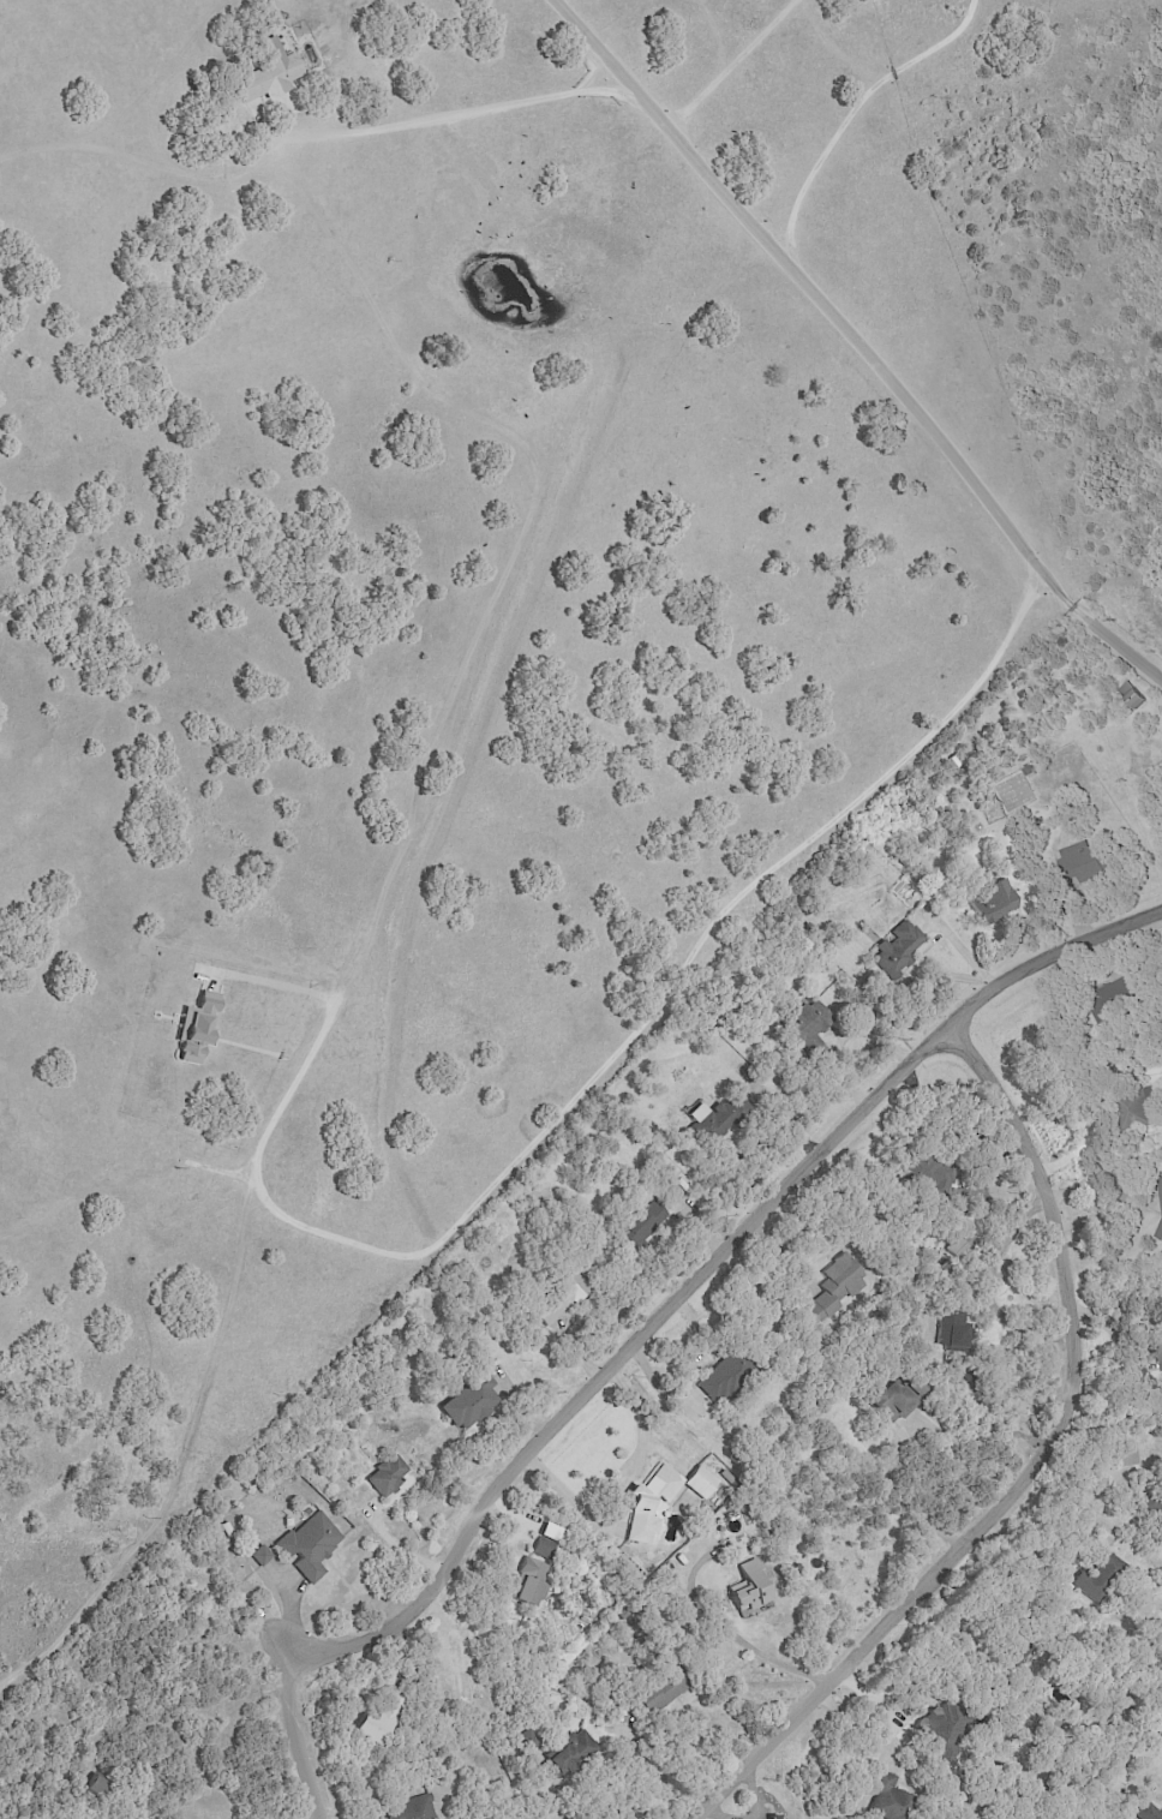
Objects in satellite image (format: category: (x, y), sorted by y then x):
road: (730, 64)
road: (583, 65)
building: (266, 74)
road: (851, 109)
road: (468, 113)
road: (853, 342)
building: (1131, 698)
building: (1077, 861)
building: (990, 899)
building: (896, 944)
building: (804, 1028)
building: (190, 1029)
road: (570, 1106)
building: (706, 1121)
building: (921, 1168)
road: (1121, 1186)
building: (1160, 1202)
building: (636, 1226)
building: (951, 1247)
building: (831, 1285)
road: (990, 1293)
building: (556, 1300)
road: (659, 1328)
building: (948, 1332)
building: (1158, 1352)
road: (690, 1362)
building: (713, 1381)
building: (468, 1401)
building: (882, 1401)
building: (1124, 1458)
road: (1035, 1473)
building: (383, 1474)
road: (619, 1480)
building: (657, 1497)
building: (1154, 1507)
road: (902, 1510)
building: (305, 1544)
building: (257, 1555)
building: (1094, 1572)
building: (528, 1581)
building: (743, 1587)
road: (115, 1623)
road: (735, 1641)
building: (1016, 1653)
building: (658, 1692)
road: (887, 1718)
building: (376, 1719)
building: (935, 1725)
building: (526, 1741)
building: (567, 1749)
building: (881, 1795)
road: (558, 1803)
building: (408, 1808)
building: (1145, 1812)
building: (769, 1817)

